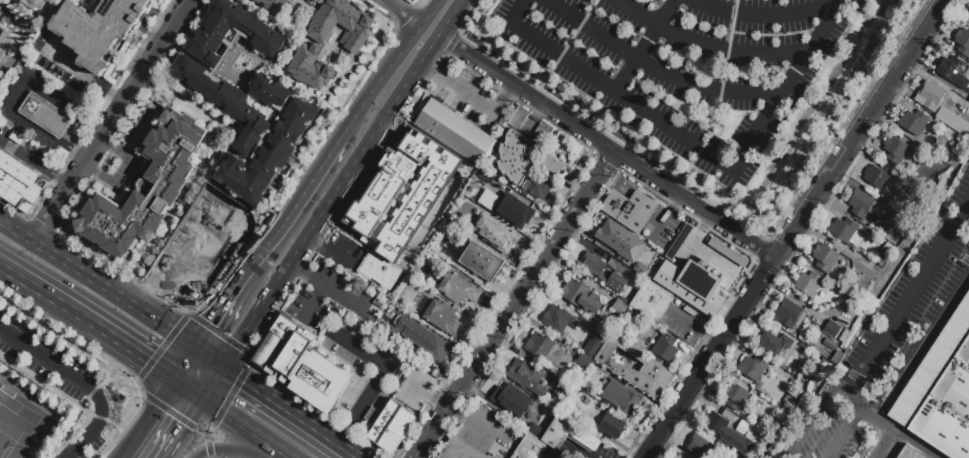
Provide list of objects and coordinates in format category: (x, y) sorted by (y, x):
building: (35, 3)
building: (274, 6)
building: (2, 8)
road: (402, 13)
building: (968, 15)
road: (762, 16)
road: (450, 18)
building: (339, 24)
building: (98, 29)
building: (4, 42)
building: (962, 42)
road: (646, 45)
road: (814, 46)
road: (706, 48)
road: (430, 50)
road: (566, 50)
road: (727, 63)
building: (311, 67)
parking lot: (686, 68)
road: (389, 69)
road: (430, 70)
road: (656, 70)
building: (953, 72)
road: (83, 74)
road: (466, 95)
road: (17, 96)
building: (929, 96)
road: (503, 100)
building: (238, 104)
road: (649, 112)
building: (46, 115)
building: (519, 118)
building: (954, 118)
road: (111, 120)
building: (914, 122)
road: (97, 129)
building: (455, 132)
road: (719, 132)
building: (542, 133)
parking lot: (21, 148)
building: (565, 148)
road: (606, 148)
building: (896, 150)
road: (79, 155)
road: (697, 159)
road: (606, 163)
road: (34, 164)
building: (553, 164)
building: (520, 165)
building: (879, 176)
building: (13, 178)
building: (169, 182)
building: (491, 184)
road: (338, 189)
building: (417, 193)
building: (33, 194)
building: (377, 194)
building: (865, 207)
building: (631, 209)
road: (14, 210)
road: (198, 210)
road: (292, 213)
building: (514, 213)
road: (41, 227)
road: (795, 229)
building: (843, 229)
building: (444, 232)
building: (615, 236)
building: (497, 240)
road: (313, 244)
building: (664, 247)
building: (889, 250)
building: (199, 253)
building: (825, 258)
road: (337, 260)
building: (481, 262)
road: (163, 264)
building: (594, 267)
building: (649, 268)
building: (378, 271)
road: (301, 272)
road: (121, 273)
road: (98, 283)
building: (616, 283)
building: (808, 283)
road: (27, 285)
building: (458, 290)
road: (144, 292)
road: (338, 294)
building: (580, 297)
building: (698, 297)
road: (313, 301)
building: (620, 306)
road: (507, 313)
building: (788, 314)
road: (217, 315)
building: (438, 316)
building: (559, 320)
road: (892, 322)
traffic signals: (212, 324)
building: (833, 332)
road: (218, 333)
parking lot: (890, 337)
building: (418, 338)
road: (239, 340)
building: (274, 340)
building: (596, 341)
road: (116, 342)
building: (774, 343)
road: (161, 346)
building: (539, 346)
building: (831, 347)
building: (665, 348)
road: (922, 349)
building: (290, 353)
road: (209, 357)
road: (371, 357)
road: (244, 360)
road: (109, 361)
traffic signals: (146, 361)
building: (584, 362)
road: (187, 364)
building: (752, 367)
building: (617, 368)
building: (527, 377)
parking lot: (59, 380)
traffic signals: (244, 380)
building: (319, 380)
road: (41, 382)
road: (214, 382)
road: (80, 383)
park: (56, 389)
road: (191, 389)
road: (474, 390)
building: (566, 390)
building: (941, 394)
road: (229, 397)
building: (507, 397)
building: (621, 398)
building: (736, 398)
road: (83, 406)
road: (450, 409)
building: (537, 410)
road: (168, 411)
road: (291, 411)
road: (353, 418)
road: (151, 419)
road: (816, 419)
building: (383, 422)
building: (401, 423)
road: (245, 426)
building: (612, 426)
traffic signals: (186, 427)
road: (185, 428)
park: (20, 430)
road: (209, 431)
building: (728, 432)
road: (203, 434)
road: (845, 434)
building: (753, 436)
building: (554, 439)
building: (389, 441)
road: (887, 445)
road: (915, 445)
building: (699, 447)
road: (209, 449)
traffic signals: (205, 450)
road: (237, 450)
building: (460, 450)
building: (910, 453)
road: (414, 455)
road: (578, 455)
road: (289, 456)
road: (210, 457)

